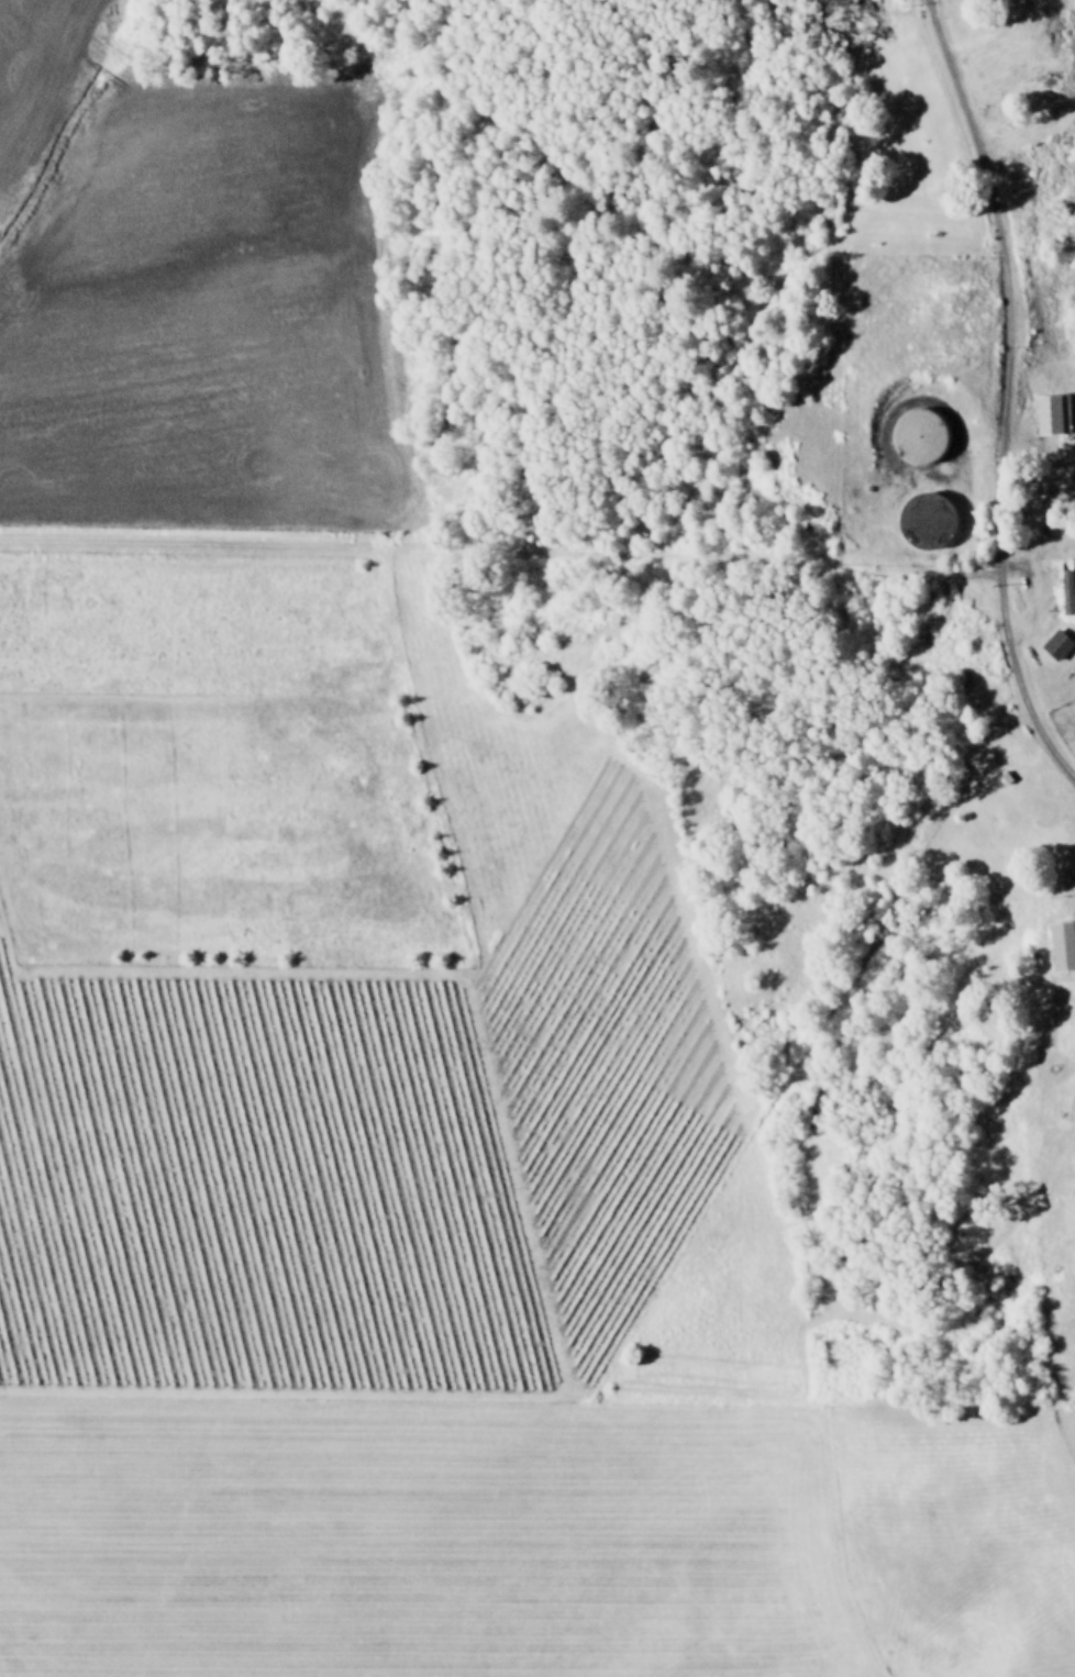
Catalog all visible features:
road: (1002, 278)
building: (1051, 413)
building: (916, 433)
building: (1065, 591)
building: (1055, 644)
road: (1019, 680)
building: (1060, 945)
crop: (443, 1025)

